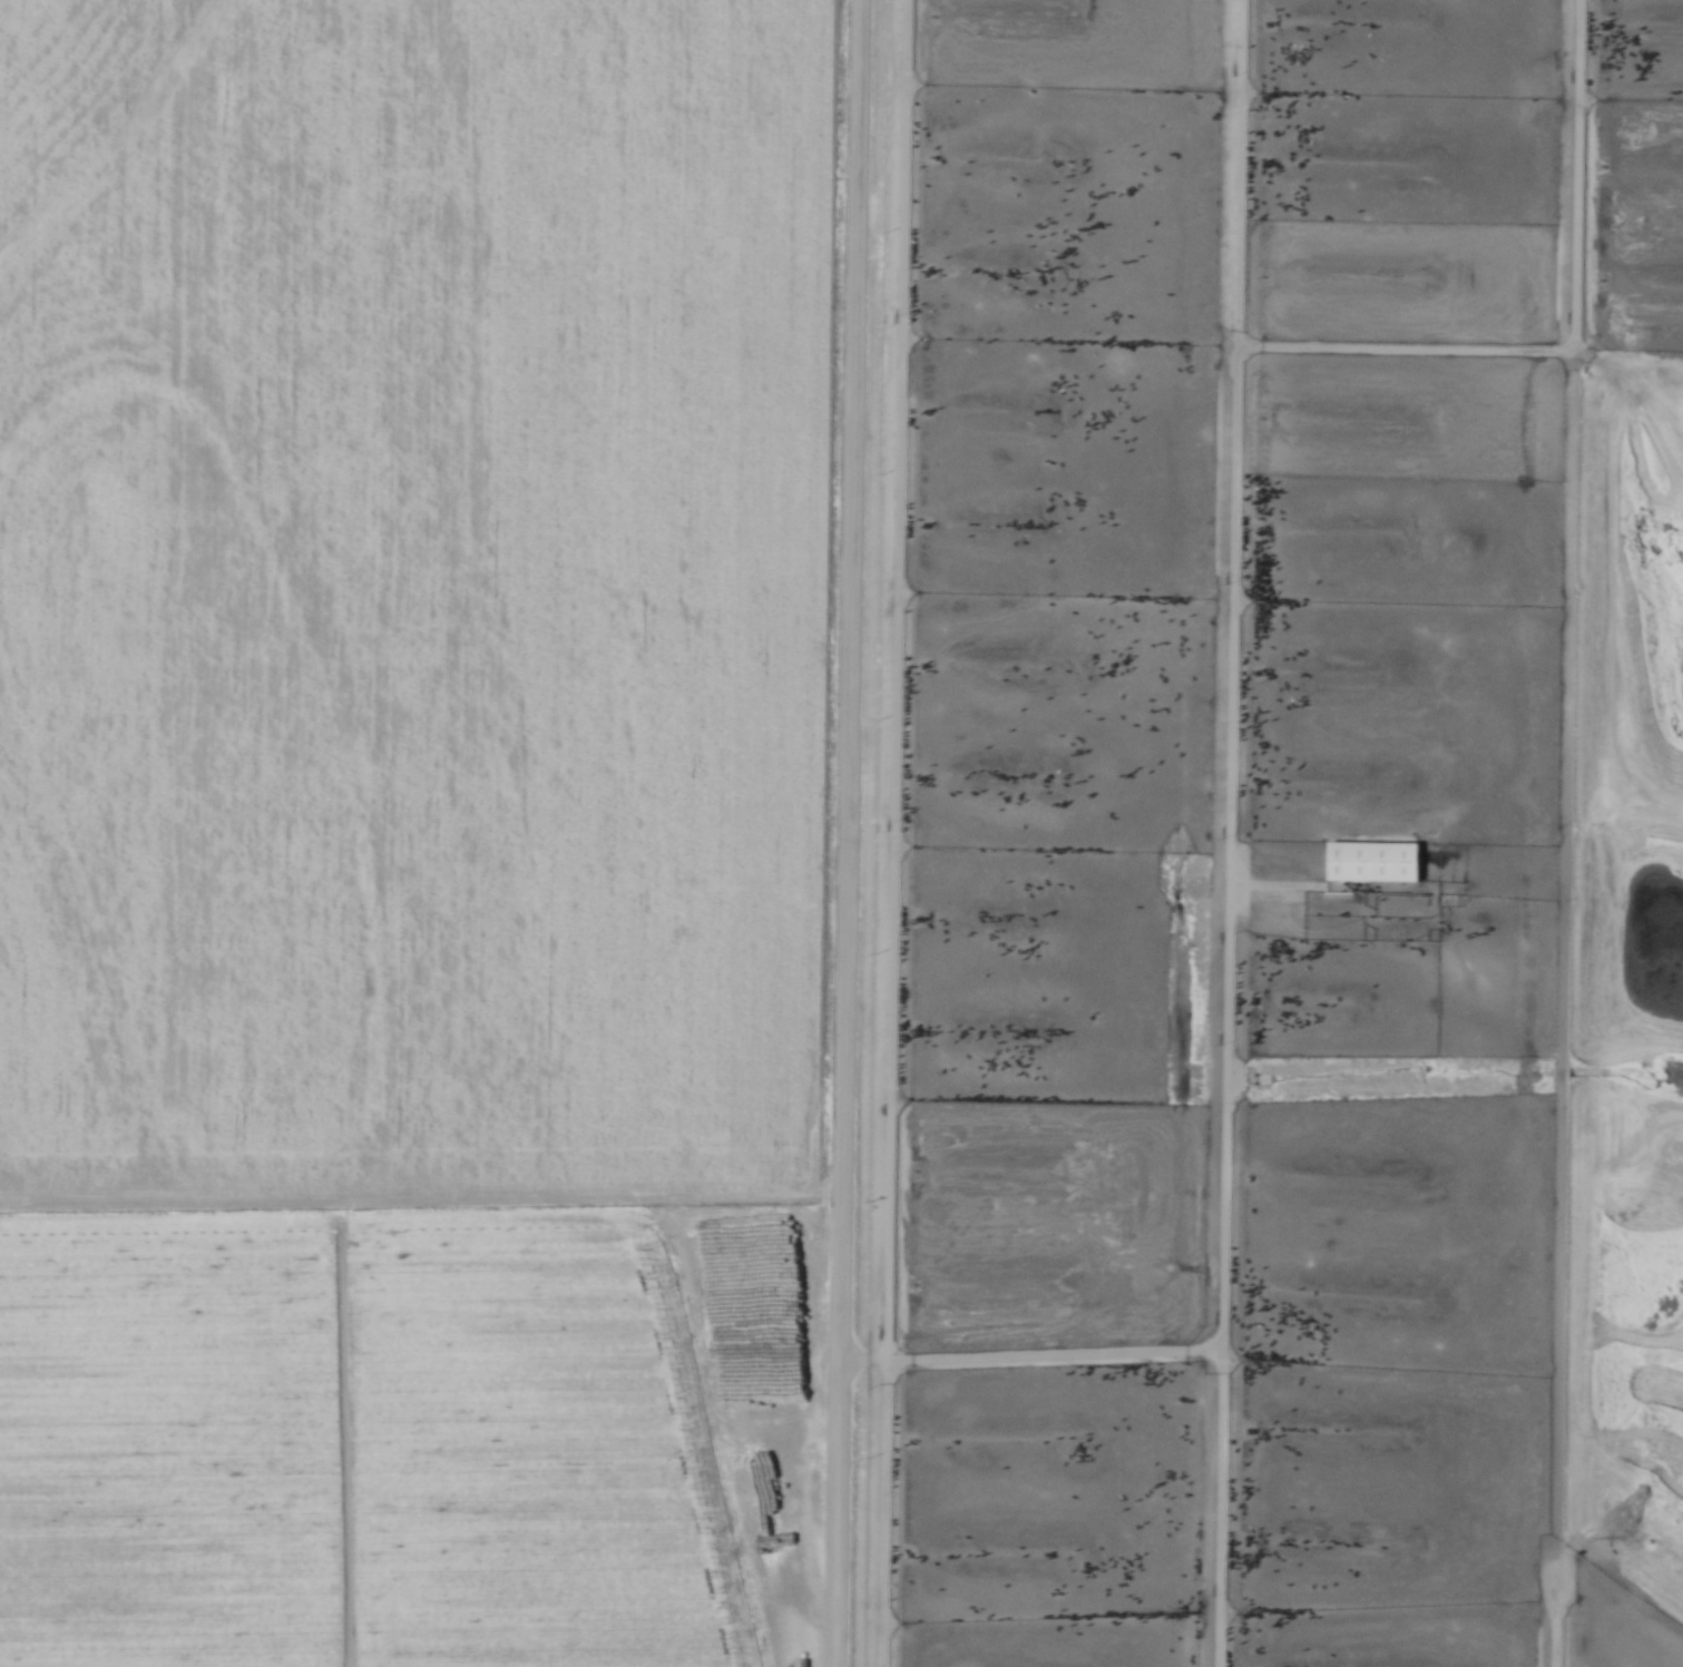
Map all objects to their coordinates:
road: (849, 833)
building: (1388, 866)

